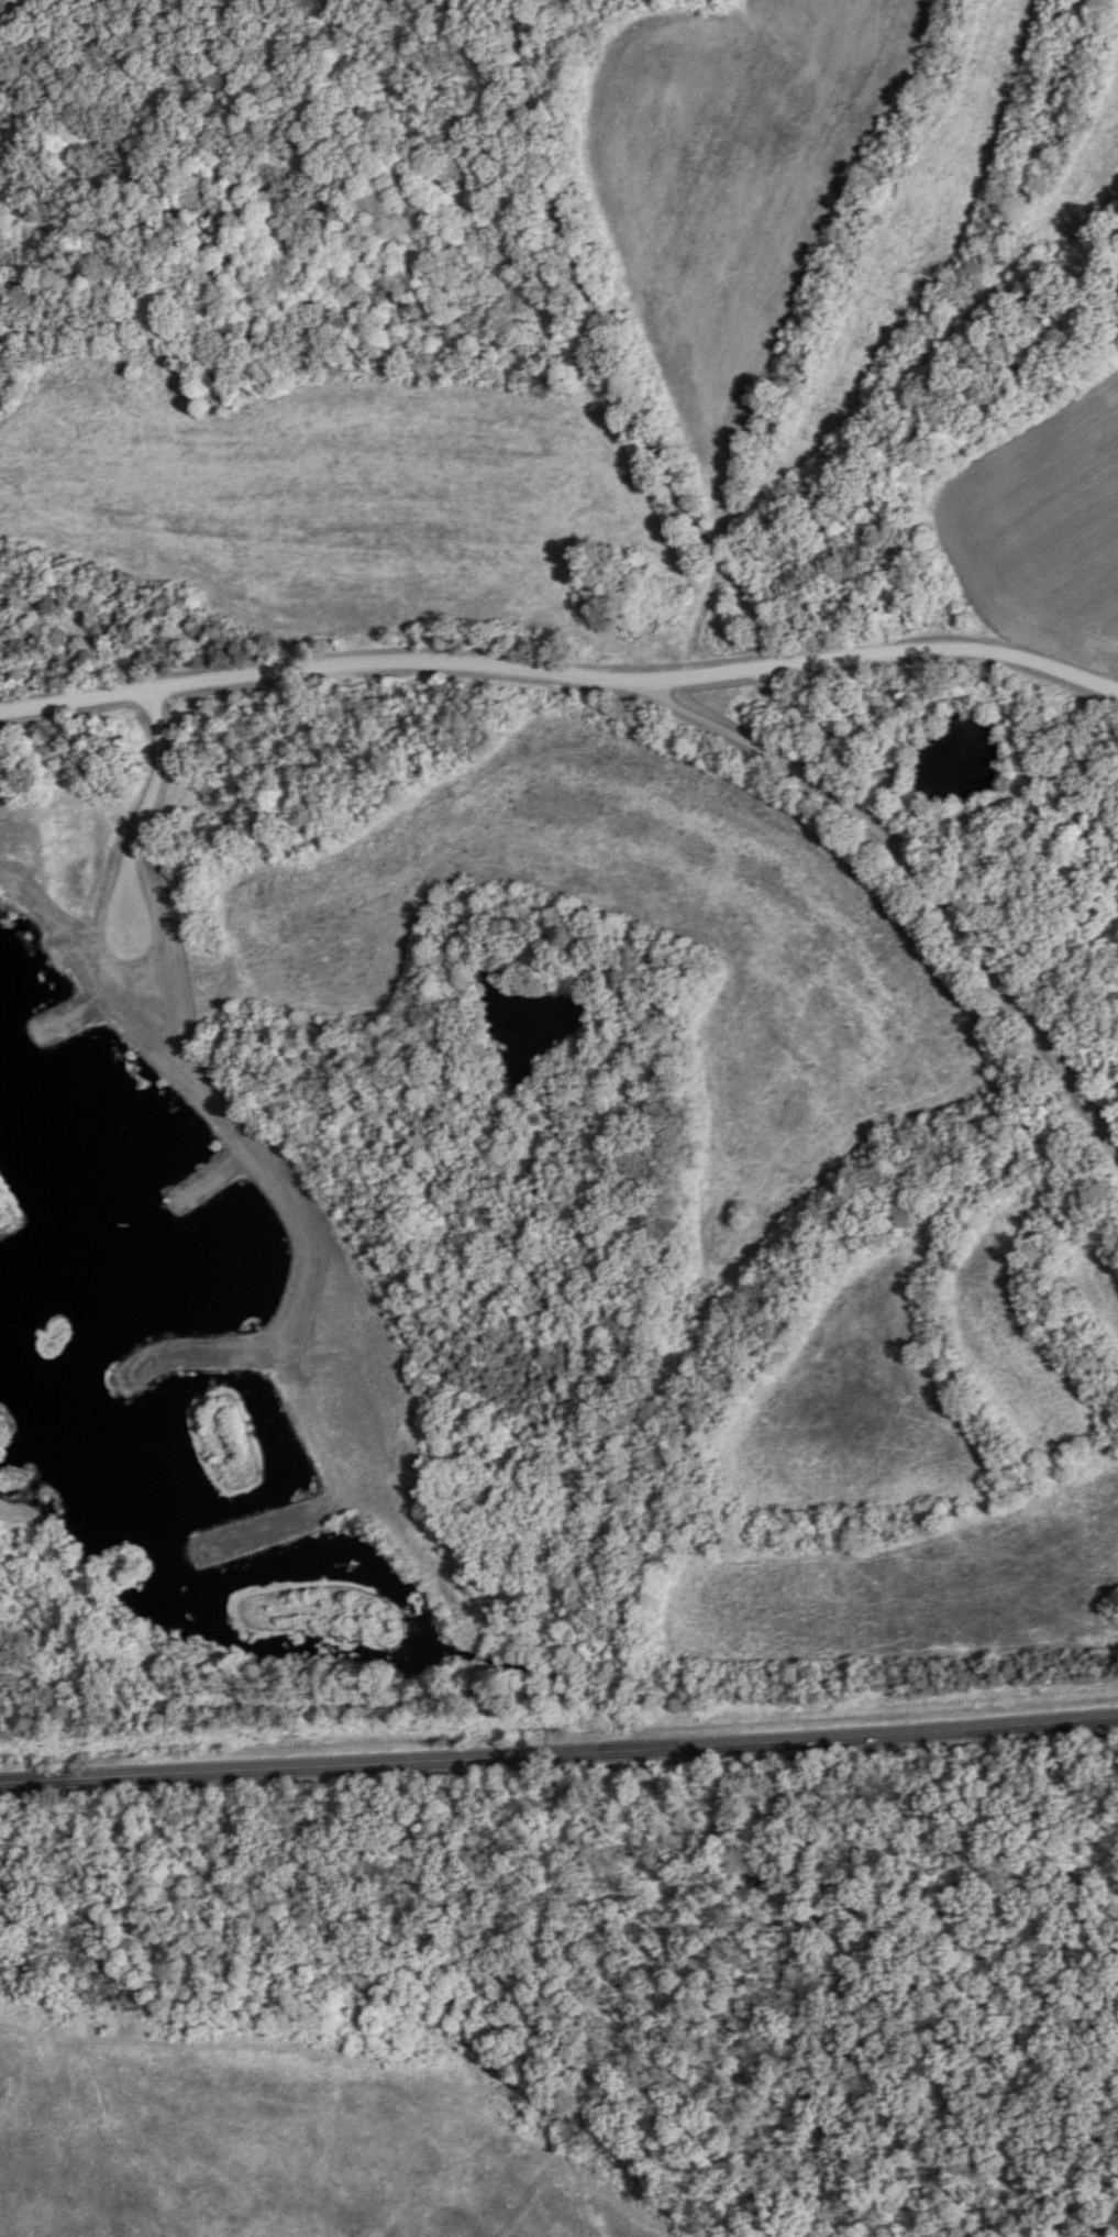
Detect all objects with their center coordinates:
road: (879, 655)
road: (317, 668)
road: (144, 813)
road: (917, 874)
dam: (25, 884)
parking lot: (129, 937)
road: (558, 1751)
park: (290, 2129)

